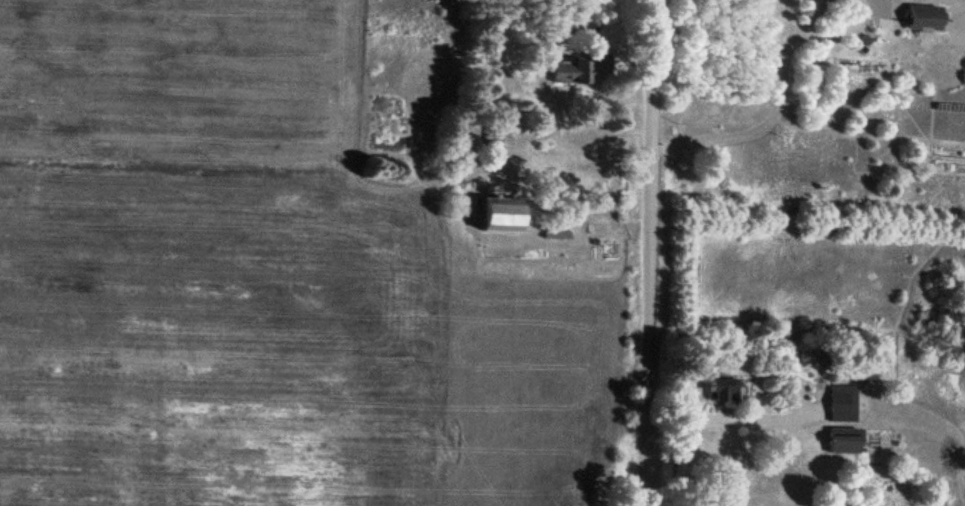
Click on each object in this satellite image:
building: (569, 74)
building: (507, 218)
road: (649, 252)
building: (724, 395)
building: (844, 408)
building: (847, 445)

